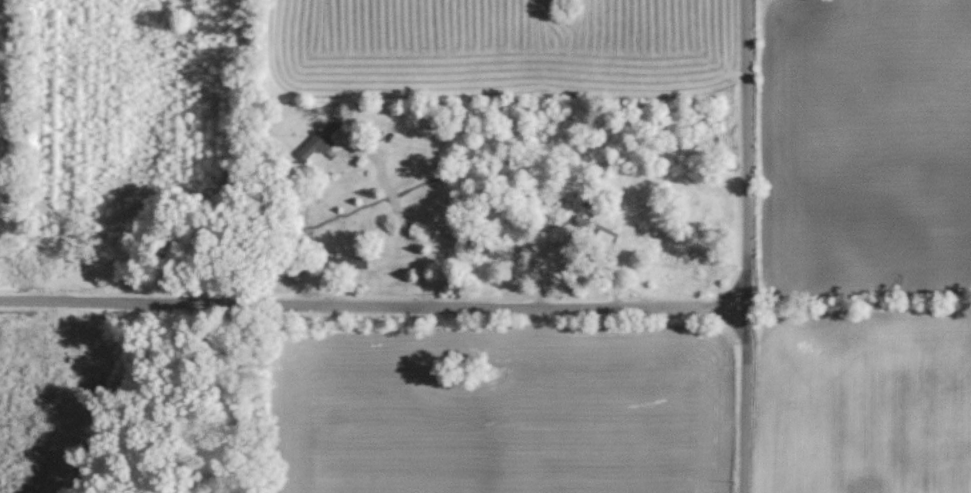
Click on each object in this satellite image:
building: (315, 145)
road: (403, 221)
building: (608, 237)
road: (745, 246)
building: (340, 263)
road: (371, 308)

